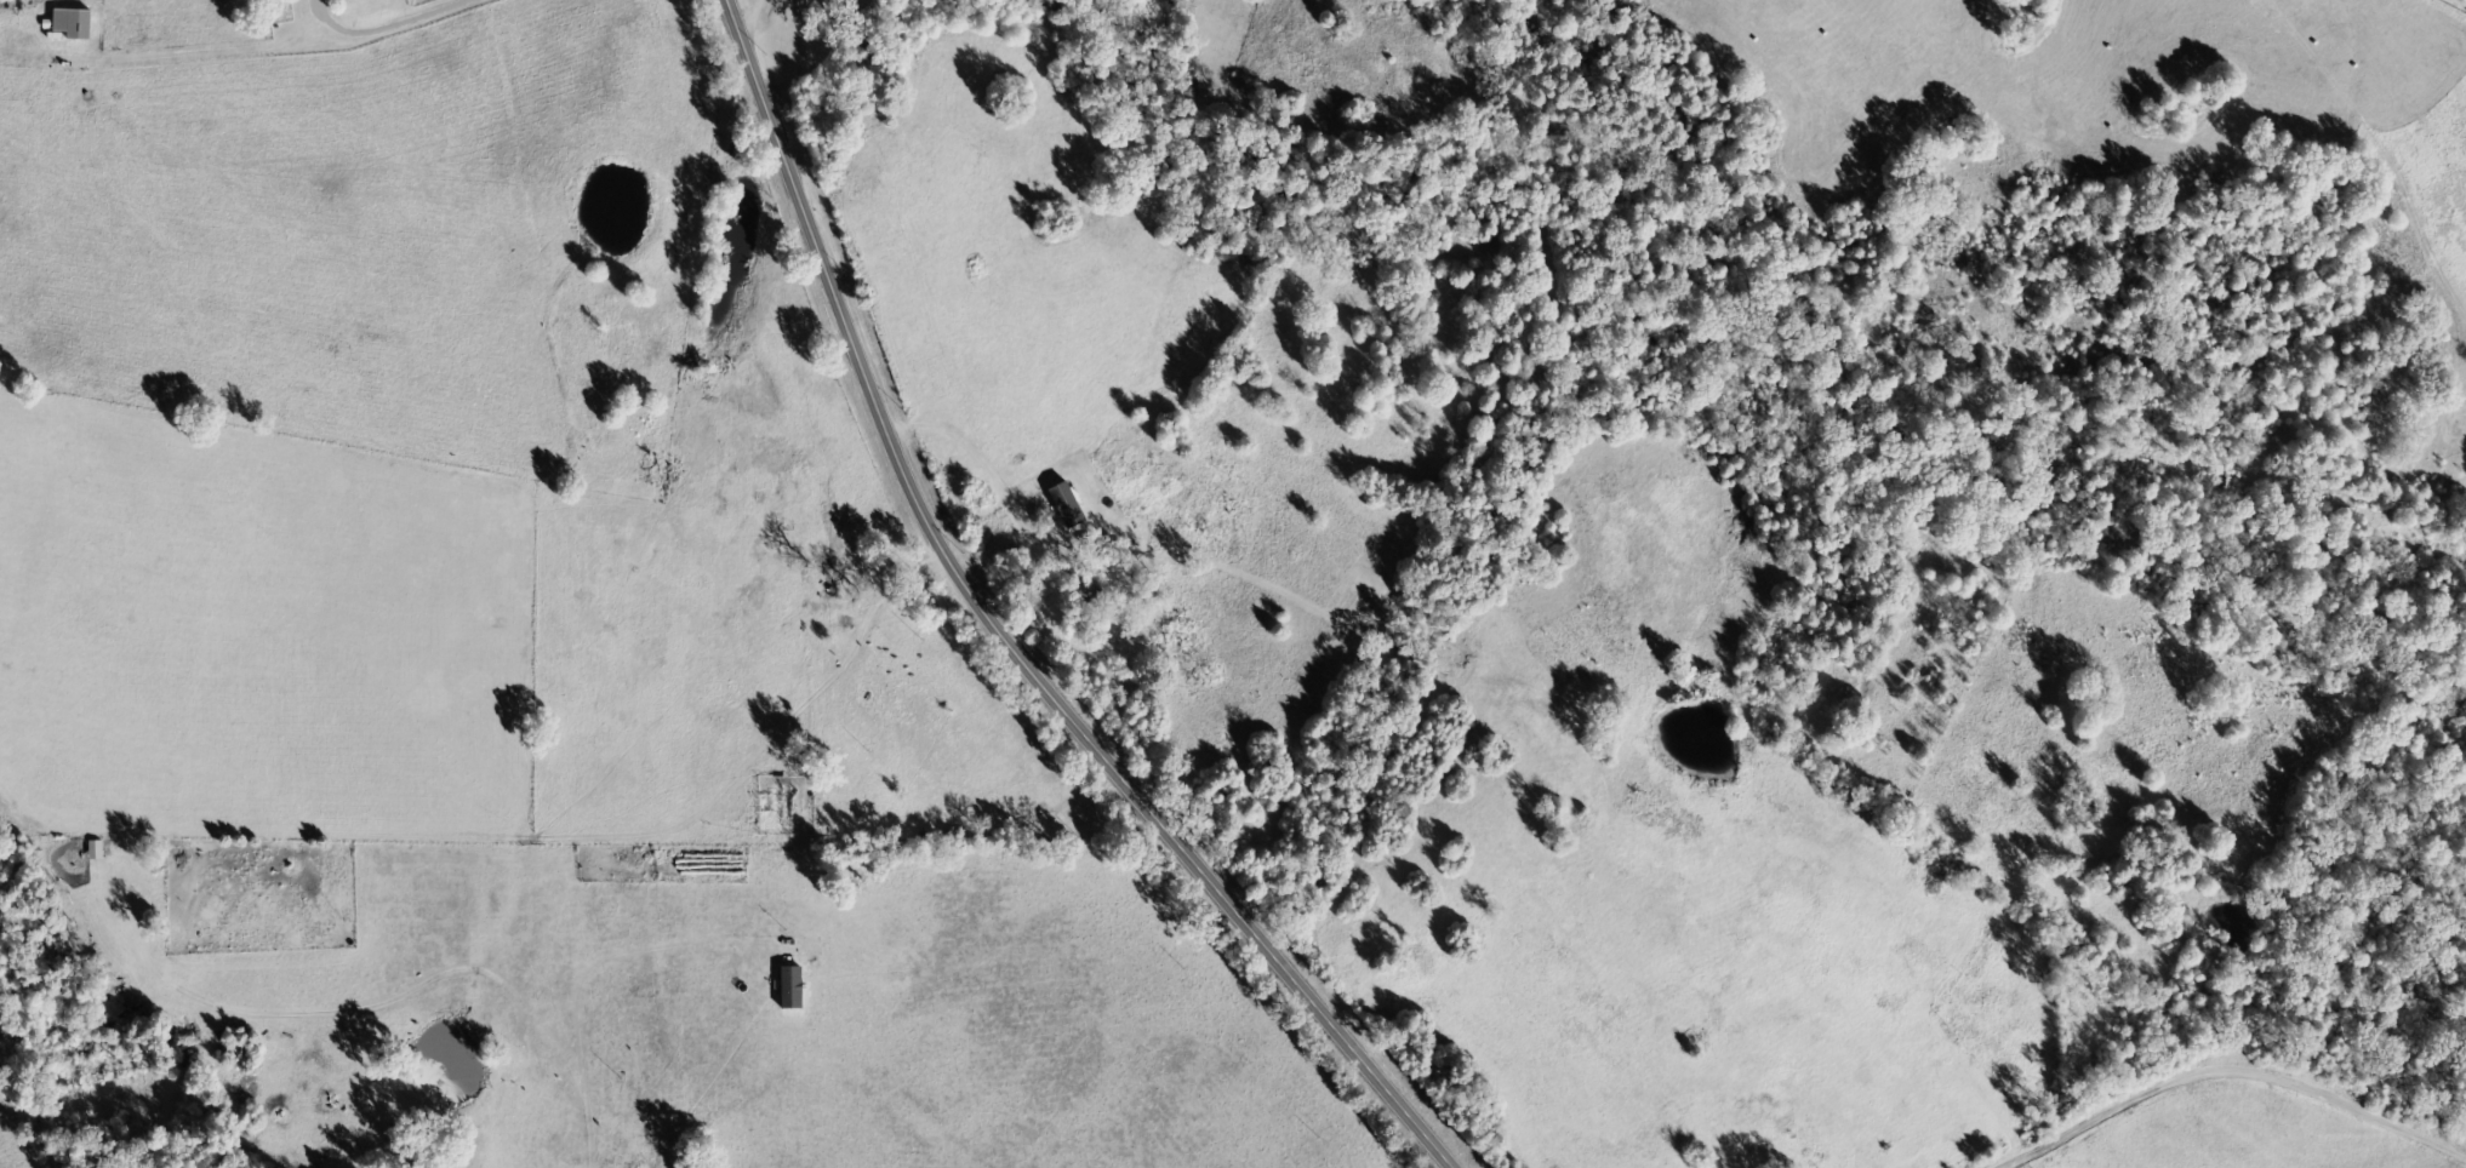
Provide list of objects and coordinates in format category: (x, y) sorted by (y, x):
park: (1254, 1)
road: (748, 22)
building: (74, 24)
road: (1001, 636)
building: (97, 852)
road: (2215, 1043)

